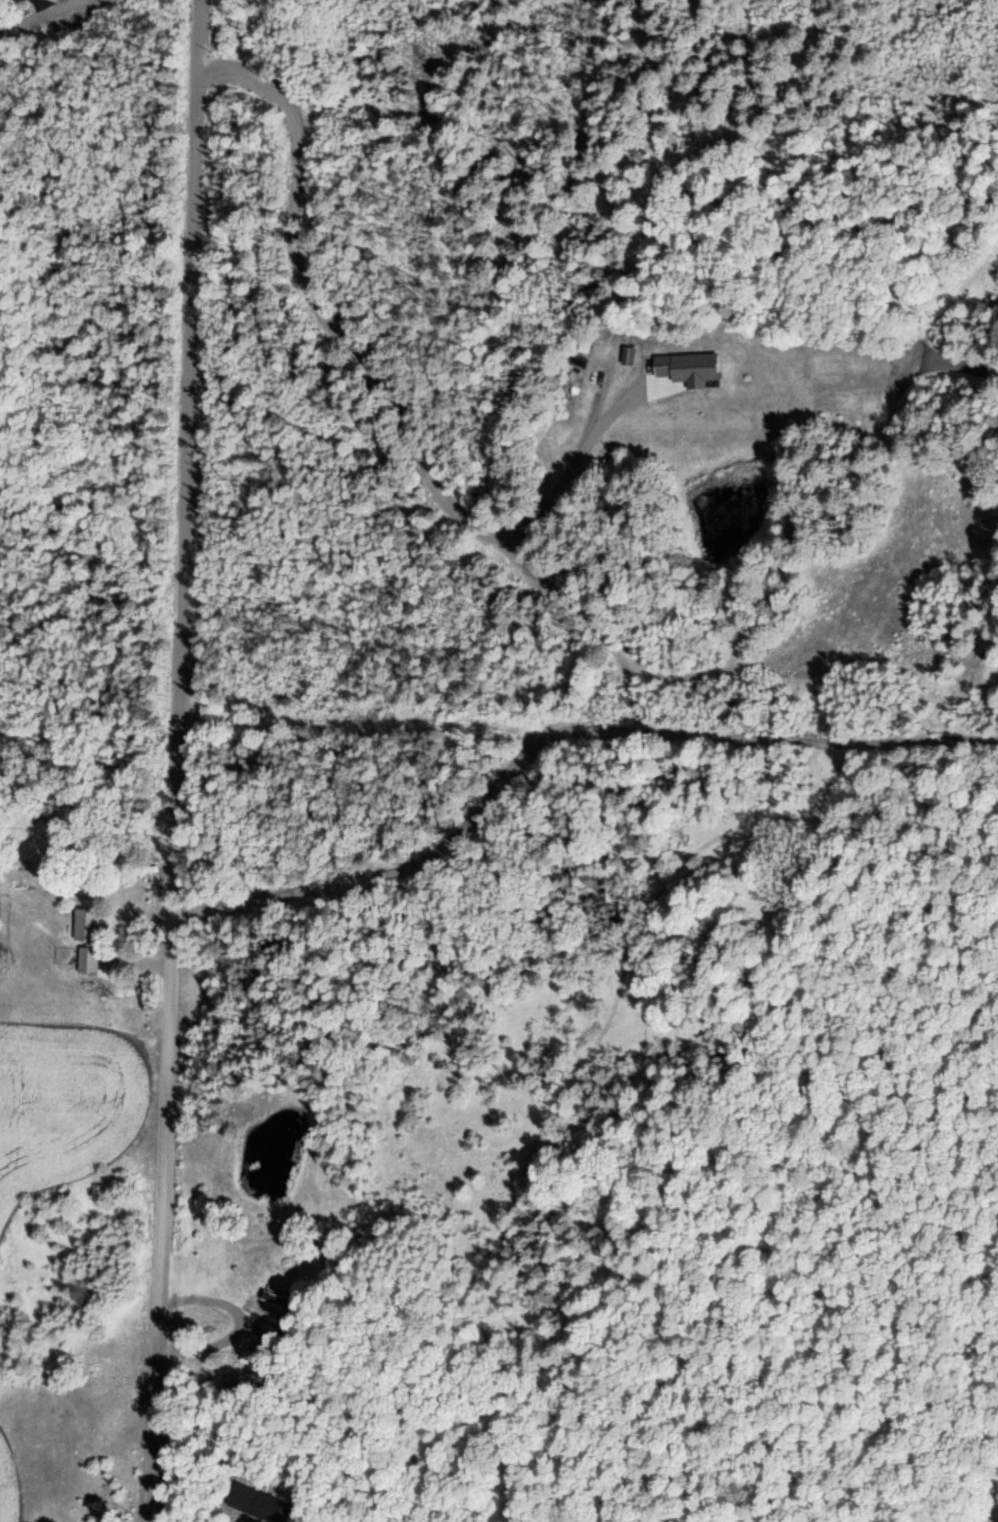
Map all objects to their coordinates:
road: (47, 4)
road: (44, 14)
road: (373, 394)
road: (591, 627)
road: (552, 735)
road: (176, 761)
road: (148, 965)
road: (234, 1324)

